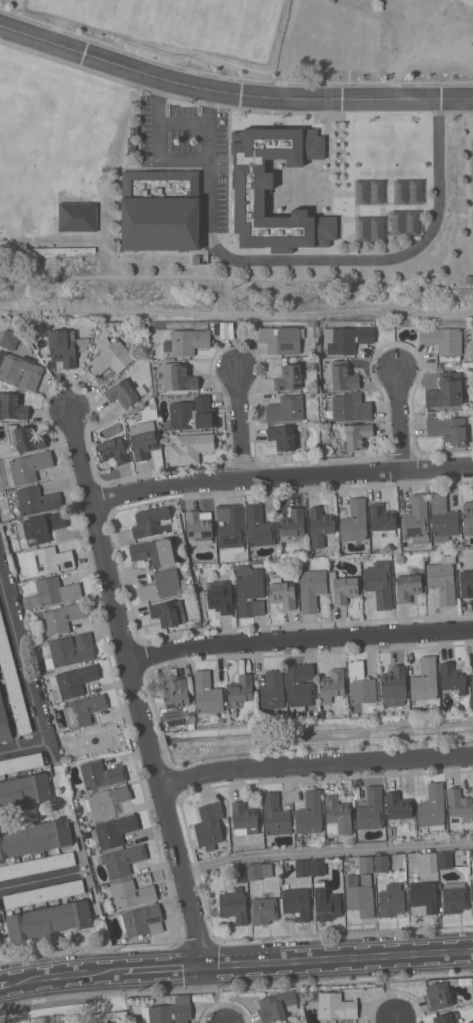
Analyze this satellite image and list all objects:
park: (181, 22)
parking lot: (331, 36)
road: (231, 92)
road: (186, 122)
parking lot: (186, 137)
park: (49, 138)
road: (159, 143)
park: (388, 145)
building: (407, 191)
building: (370, 192)
building: (250, 198)
building: (160, 209)
building: (77, 217)
building: (407, 222)
building: (369, 225)
road: (315, 258)
building: (196, 259)
building: (10, 335)
building: (282, 339)
building: (346, 339)
building: (443, 339)
building: (187, 342)
building: (28, 345)
building: (66, 346)
building: (110, 357)
building: (20, 370)
building: (178, 375)
building: (289, 378)
building: (344, 378)
building: (447, 390)
building: (125, 392)
building: (12, 406)
building: (351, 407)
building: (286, 409)
building: (192, 414)
road: (402, 421)
road: (240, 426)
building: (336, 426)
building: (127, 429)
building: (448, 430)
building: (358, 435)
building: (25, 437)
building: (283, 437)
building: (144, 444)
building: (190, 448)
building: (115, 449)
road: (83, 455)
building: (29, 466)
road: (282, 476)
building: (36, 500)
building: (382, 518)
building: (442, 518)
building: (468, 518)
building: (416, 519)
building: (156, 521)
building: (354, 521)
building: (293, 522)
building: (320, 525)
building: (43, 526)
building: (199, 526)
building: (259, 526)
building: (231, 527)
building: (154, 551)
building: (241, 557)
building: (365, 557)
building: (48, 560)
building: (257, 562)
building: (299, 562)
building: (443, 579)
building: (466, 583)
building: (163, 584)
building: (379, 585)
building: (409, 585)
building: (343, 587)
building: (311, 589)
building: (250, 590)
building: (51, 592)
building: (282, 592)
building: (220, 596)
building: (168, 613)
building: (61, 617)
building: (198, 623)
road: (300, 638)
building: (70, 650)
road: (22, 659)
building: (452, 677)
building: (425, 679)
building: (74, 680)
building: (13, 683)
building: (472, 683)
building: (300, 685)
building: (332, 685)
building: (360, 685)
building: (394, 686)
building: (240, 690)
building: (271, 690)
building: (206, 694)
building: (175, 701)
building: (83, 710)
building: (252, 716)
building: (192, 717)
building: (223, 719)
building: (4, 722)
road: (147, 733)
road: (22, 748)
building: (20, 763)
road: (316, 763)
building: (101, 774)
building: (24, 790)
building: (106, 801)
building: (460, 803)
building: (398, 806)
building: (432, 808)
building: (371, 809)
building: (338, 814)
building: (275, 816)
building: (309, 816)
building: (244, 819)
building: (209, 825)
building: (114, 831)
building: (35, 838)
building: (329, 840)
road: (327, 852)
building: (445, 859)
building: (122, 860)
building: (381, 863)
building: (365, 864)
building: (37, 865)
building: (429, 865)
building: (318, 867)
building: (302, 868)
building: (266, 870)
building: (254, 871)
building: (238, 874)
road: (36, 879)
building: (472, 879)
building: (131, 893)
building: (43, 894)
building: (424, 896)
building: (472, 896)
building: (361, 897)
building: (454, 898)
building: (391, 900)
building: (296, 903)
building: (234, 905)
building: (327, 906)
building: (264, 910)
building: (48, 920)
building: (142, 920)
building: (0, 941)
building: (0, 946)
road: (240, 965)
road: (4, 985)
building: (438, 995)
building: (276, 1005)
building: (334, 1005)
building: (169, 1011)
building: (446, 1018)
road: (398, 1021)
building: (111, 1022)
building: (291, 1022)

